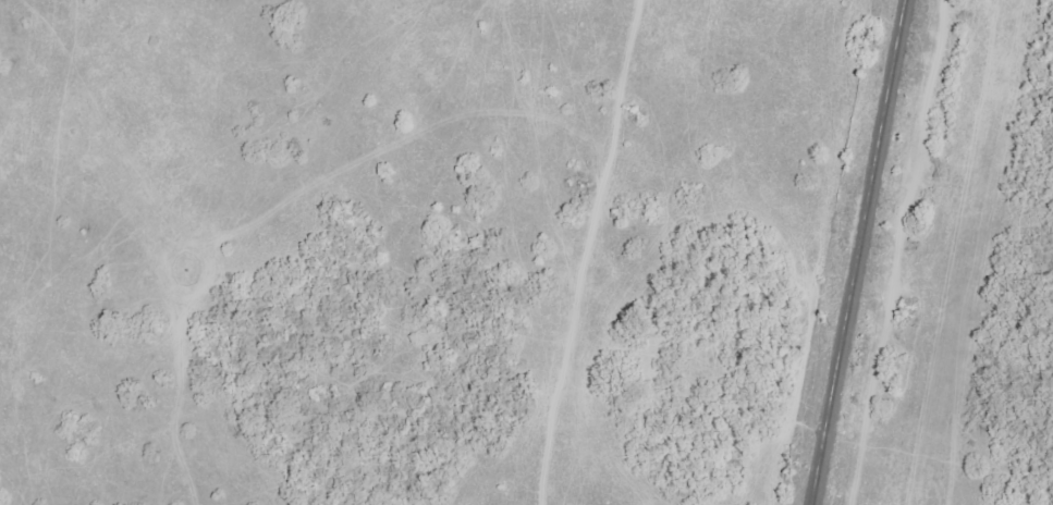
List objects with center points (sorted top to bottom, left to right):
road: (670, 249)
railway: (859, 253)

